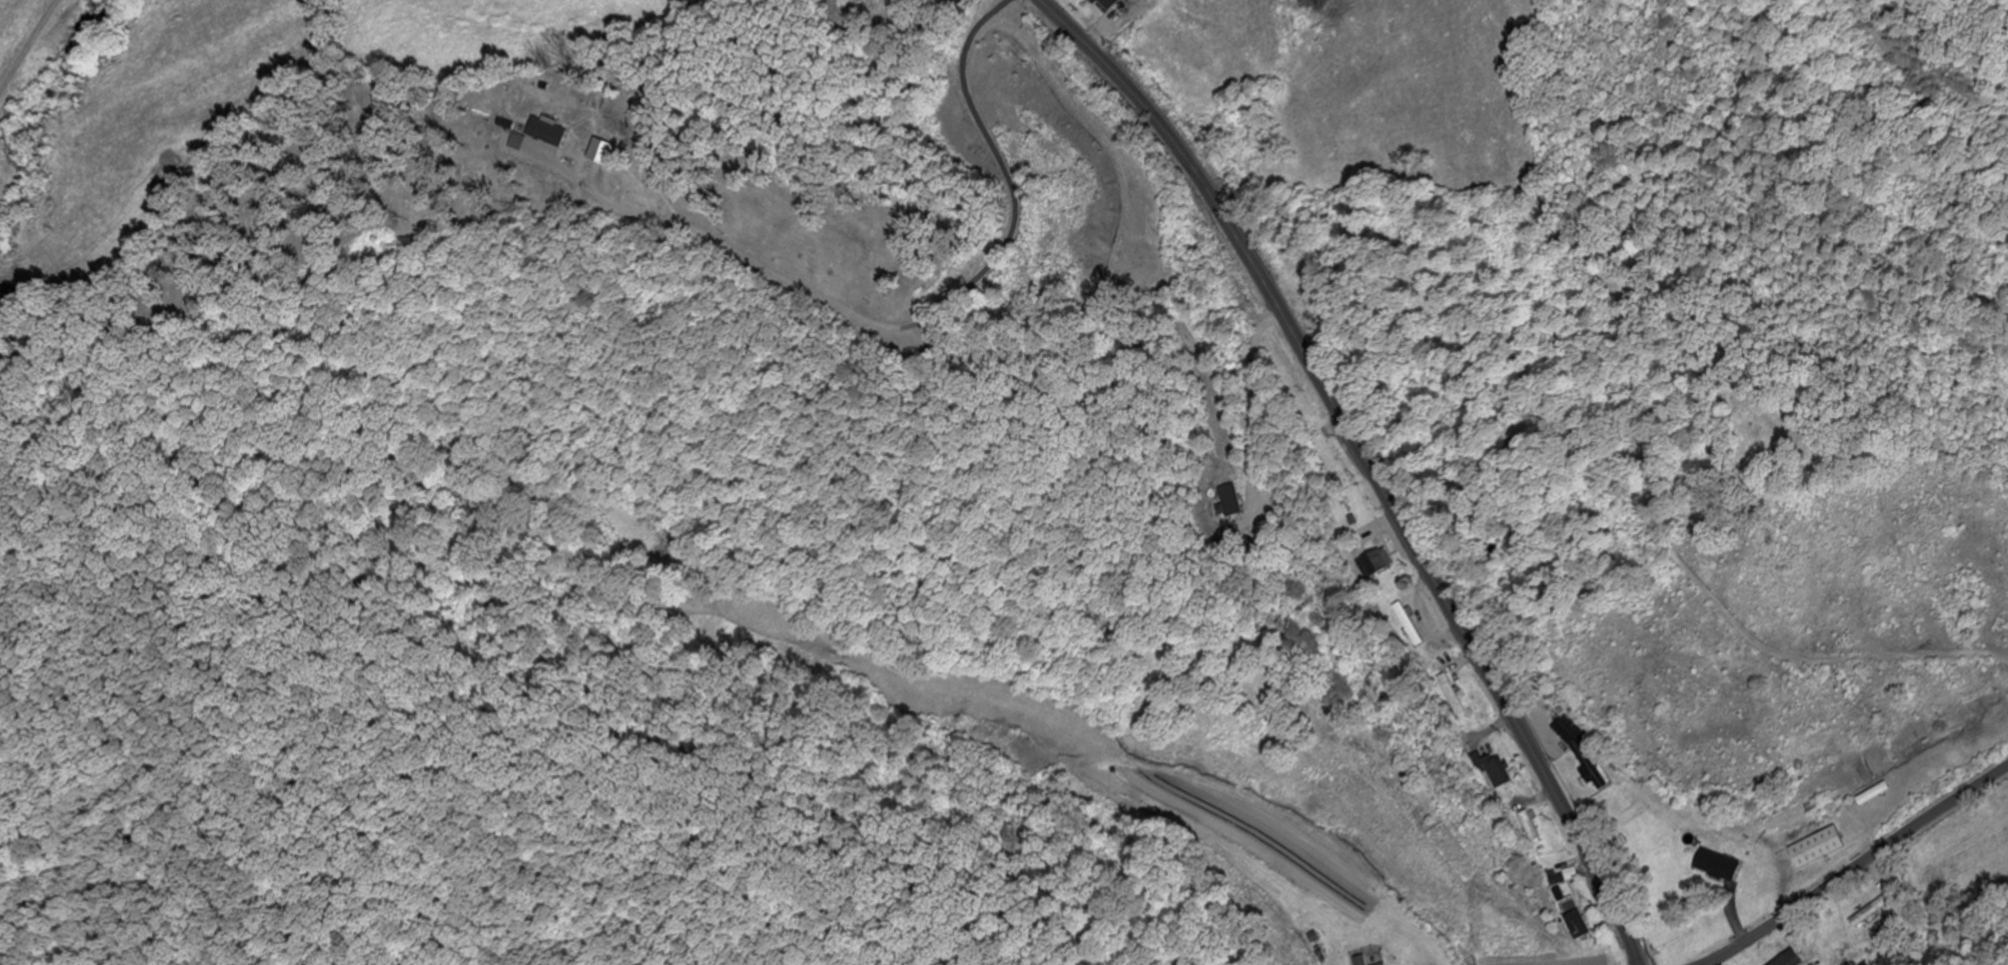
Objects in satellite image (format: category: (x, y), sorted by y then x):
building: (1106, 4)
road: (1365, 464)
building: (1233, 503)
building: (1373, 565)
building: (1408, 625)
building: (1452, 696)
building: (1575, 753)
building: (1494, 772)
building: (1529, 828)
building: (1815, 849)
building: (1715, 866)
road: (1856, 867)
building: (1555, 881)
building: (1577, 926)
building: (1358, 961)
building: (1794, 962)
building: (1384, 964)

